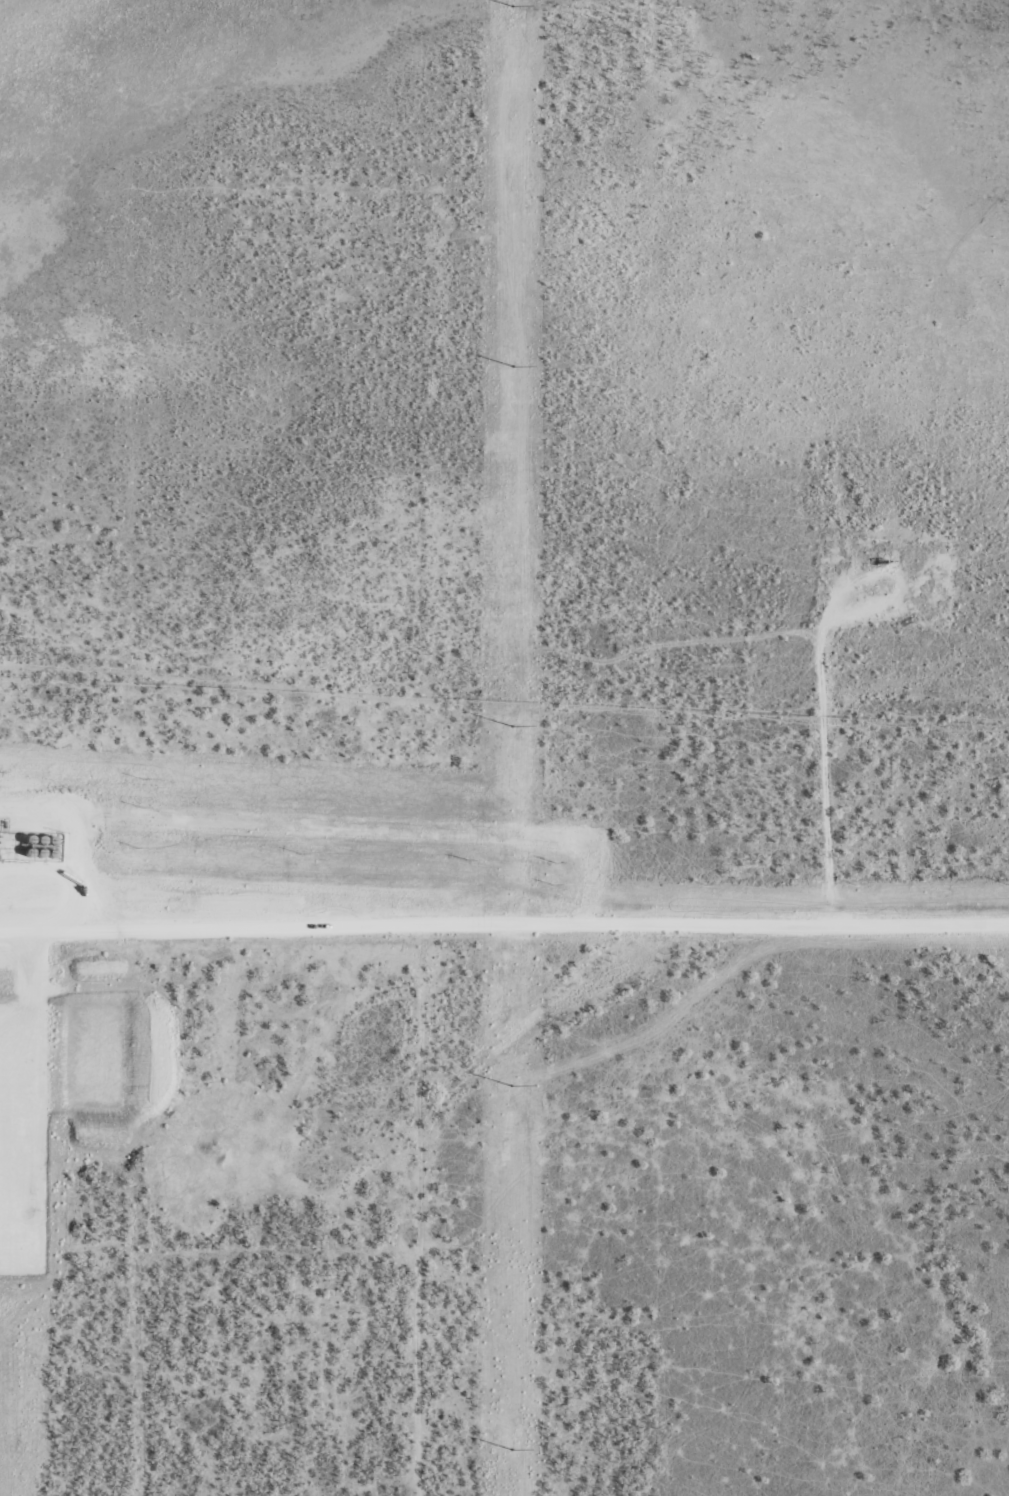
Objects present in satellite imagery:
power tower: (512, 0)
power tower: (512, 361)
power tower: (512, 719)
road: (270, 934)
power tower: (512, 1081)
power tower: (512, 1440)

